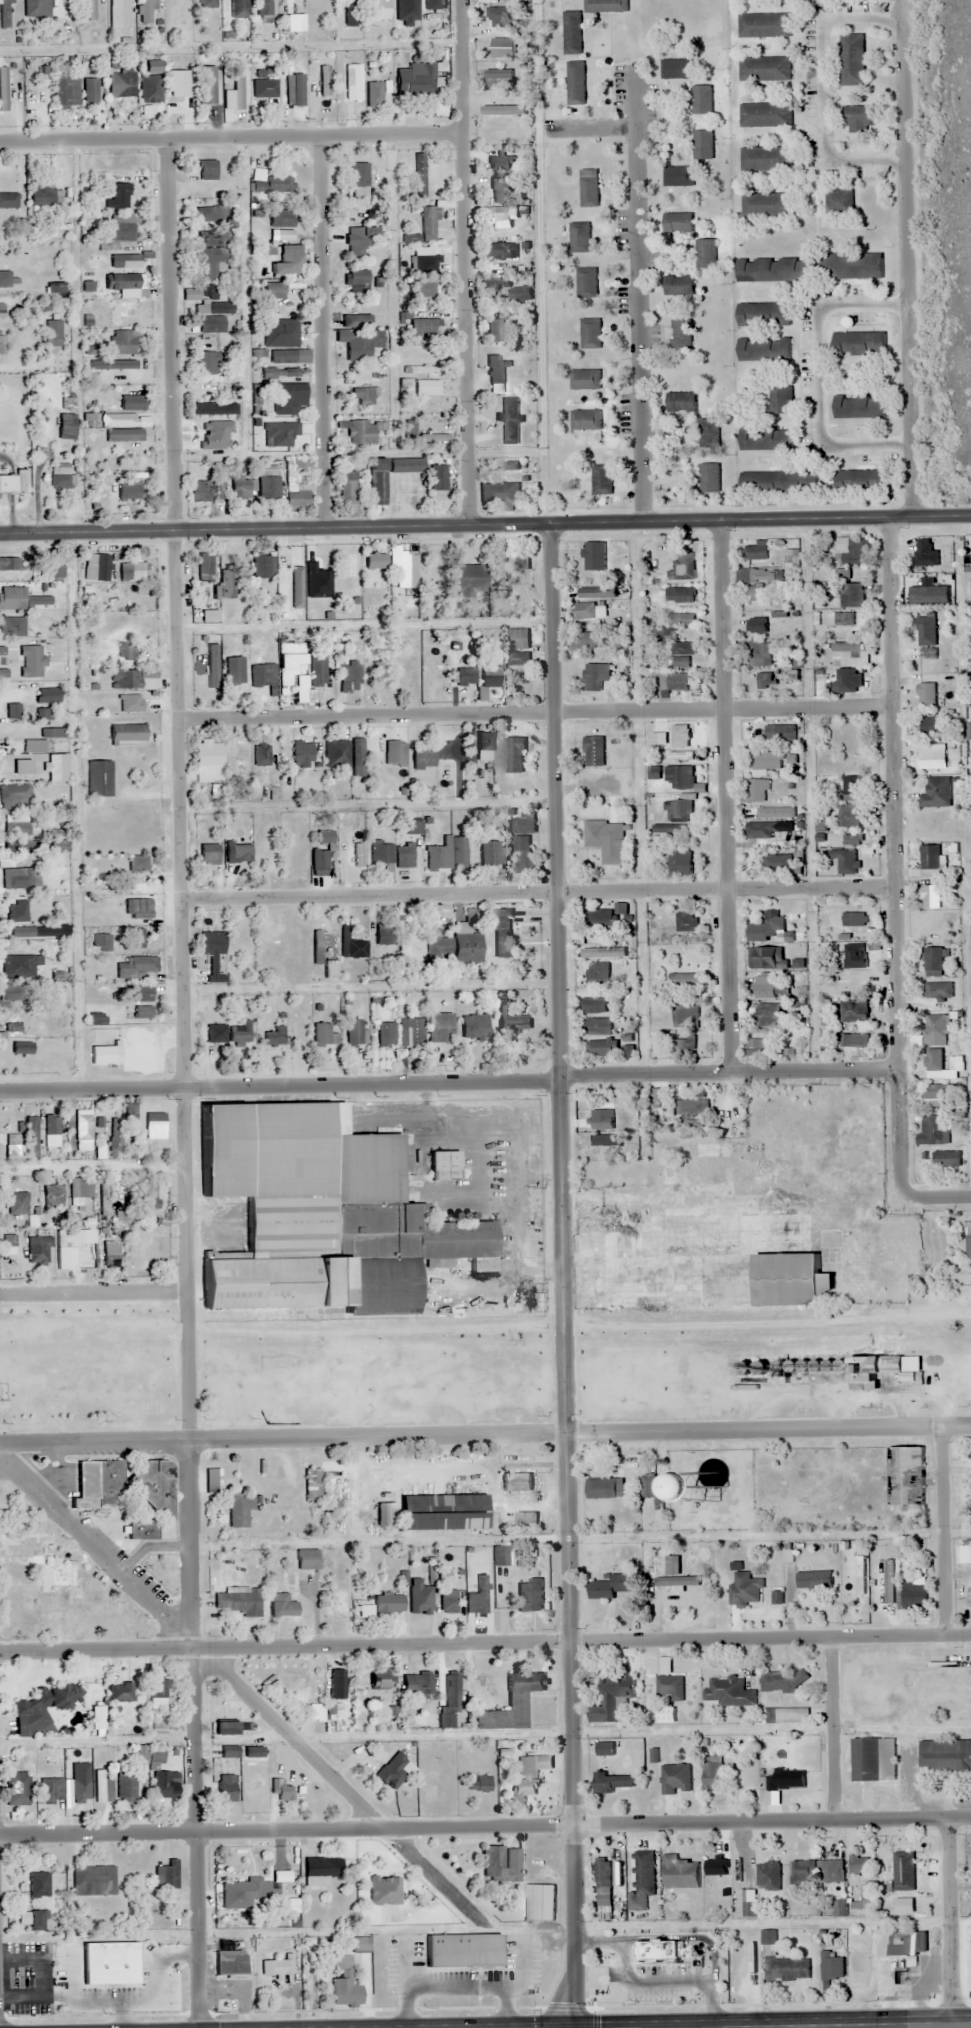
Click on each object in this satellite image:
building: (207, 3)
building: (431, 4)
building: (605, 6)
building: (237, 8)
building: (263, 8)
building: (36, 9)
building: (379, 9)
building: (404, 9)
building: (91, 10)
building: (145, 11)
building: (119, 13)
building: (349, 13)
building: (4, 14)
building: (491, 14)
building: (763, 25)
building: (572, 33)
building: (518, 45)
building: (852, 59)
building: (764, 68)
building: (675, 69)
building: (498, 79)
building: (415, 80)
building: (178, 81)
building: (575, 83)
building: (121, 84)
building: (206, 85)
building: (150, 88)
building: (264, 88)
road: (823, 88)
building: (3, 89)
building: (90, 89)
building: (294, 89)
building: (66, 92)
building: (234, 93)
building: (373, 94)
building: (701, 99)
building: (31, 106)
building: (764, 115)
building: (857, 119)
road: (230, 136)
building: (703, 144)
building: (767, 159)
building: (132, 160)
building: (501, 161)
building: (206, 170)
building: (359, 175)
building: (419, 175)
building: (678, 176)
building: (272, 181)
building: (589, 188)
building: (501, 190)
building: (119, 195)
building: (49, 196)
building: (8, 200)
building: (839, 202)
building: (767, 205)
building: (210, 214)
building: (280, 218)
building: (500, 219)
building: (677, 222)
building: (428, 223)
building: (121, 228)
building: (579, 237)
building: (212, 238)
building: (354, 240)
building: (497, 250)
building: (705, 254)
road: (908, 258)
building: (124, 261)
building: (211, 262)
road: (464, 262)
building: (291, 263)
building: (850, 266)
building: (775, 269)
building: (357, 278)
building: (7, 280)
building: (586, 282)
building: (123, 284)
building: (678, 286)
building: (422, 288)
building: (273, 290)
building: (297, 290)
building: (191, 294)
building: (521, 294)
building: (502, 295)
road: (638, 303)
building: (210, 309)
building: (127, 310)
building: (763, 314)
building: (356, 321)
building: (210, 324)
building: (424, 327)
building: (495, 330)
road: (321, 331)
building: (53, 333)
building: (281, 333)
building: (590, 334)
building: (681, 334)
building: (122, 342)
building: (360, 342)
building: (858, 344)
building: (764, 349)
building: (290, 357)
building: (124, 366)
building: (212, 366)
building: (496, 371)
building: (280, 373)
road: (817, 373)
building: (584, 380)
building: (426, 388)
building: (364, 395)
building: (288, 398)
building: (780, 400)
road: (16, 401)
building: (681, 402)
building: (131, 403)
building: (860, 406)
building: (213, 409)
building: (118, 420)
building: (586, 420)
building: (509, 421)
building: (364, 431)
building: (66, 432)
building: (709, 433)
building: (121, 435)
building: (765, 438)
building: (213, 439)
building: (434, 439)
building: (406, 465)
building: (10, 467)
building: (59, 476)
building: (438, 478)
building: (709, 478)
building: (601, 480)
building: (861, 480)
building: (377, 481)
building: (269, 482)
building: (779, 483)
building: (296, 484)
building: (240, 487)
building: (348, 487)
building: (218, 489)
building: (128, 490)
building: (201, 491)
building: (499, 494)
road: (929, 515)
road: (444, 525)
building: (757, 551)
building: (852, 551)
building: (925, 553)
building: (593, 557)
building: (375, 560)
building: (318, 563)
building: (515, 563)
building: (9, 564)
building: (205, 566)
building: (263, 566)
building: (51, 567)
building: (96, 567)
building: (682, 568)
building: (406, 570)
building: (131, 571)
building: (348, 572)
building: (759, 576)
building: (231, 579)
building: (467, 580)
building: (754, 594)
building: (681, 595)
building: (851, 595)
building: (20, 599)
building: (135, 604)
building: (514, 607)
building: (586, 611)
building: (210, 616)
building: (682, 620)
building: (843, 620)
building: (11, 627)
building: (926, 630)
building: (663, 634)
building: (773, 634)
building: (518, 639)
building: (590, 640)
building: (683, 649)
building: (2, 651)
building: (127, 652)
building: (927, 652)
building: (759, 654)
building: (519, 659)
building: (30, 662)
building: (681, 663)
building: (235, 671)
building: (318, 671)
building: (377, 671)
building: (3, 673)
building: (206, 675)
building: (491, 675)
building: (281, 676)
building: (350, 676)
building: (595, 676)
building: (464, 677)
building: (129, 678)
building: (764, 680)
building: (435, 681)
building: (679, 682)
building: (925, 694)
building: (47, 696)
building: (88, 701)
road: (808, 705)
road: (451, 713)
building: (44, 714)
building: (10, 721)
building: (936, 722)
building: (51, 732)
building: (126, 733)
building: (675, 733)
building: (779, 733)
building: (483, 741)
building: (593, 751)
building: (358, 753)
building: (301, 754)
building: (336, 754)
building: (395, 754)
building: (261, 755)
building: (515, 756)
building: (681, 756)
building: (932, 756)
building: (241, 757)
building: (423, 758)
building: (208, 761)
building: (767, 761)
building: (56, 763)
building: (22, 766)
building: (679, 777)
building: (99, 778)
building: (852, 787)
road: (181, 790)
building: (757, 791)
building: (937, 793)
building: (15, 796)
road: (724, 796)
building: (677, 811)
building: (760, 813)
building: (849, 817)
building: (525, 824)
building: (17, 829)
building: (666, 829)
building: (762, 830)
building: (324, 837)
building: (606, 840)
building: (852, 841)
building: (396, 849)
building: (209, 853)
building: (240, 853)
building: (522, 854)
building: (448, 855)
building: (493, 855)
building: (929, 857)
building: (6, 861)
building: (292, 861)
building: (845, 861)
building: (319, 862)
road: (893, 862)
building: (137, 863)
building: (773, 863)
building: (680, 864)
building: (21, 880)
road: (538, 890)
building: (930, 897)
building: (138, 909)
building: (26, 913)
building: (609, 916)
building: (853, 921)
building: (686, 922)
building: (770, 924)
building: (20, 932)
building: (502, 933)
building: (385, 934)
building: (136, 939)
building: (100, 943)
building: (466, 945)
building: (317, 948)
building: (354, 948)
building: (436, 948)
building: (274, 949)
building: (412, 949)
building: (300, 950)
building: (605, 953)
building: (213, 955)
building: (859, 955)
building: (766, 958)
building: (933, 962)
building: (18, 967)
building: (134, 968)
building: (597, 973)
building: (683, 981)
building: (764, 987)
building: (938, 991)
building: (15, 992)
building: (139, 994)
building: (594, 1006)
building: (142, 1012)
building: (854, 1012)
building: (686, 1013)
building: (769, 1015)
building: (13, 1023)
building: (515, 1023)
building: (1, 1027)
building: (475, 1027)
building: (598, 1027)
building: (440, 1028)
building: (935, 1030)
building: (411, 1032)
building: (354, 1033)
building: (215, 1034)
building: (240, 1034)
building: (121, 1035)
building: (321, 1035)
building: (386, 1035)
building: (273, 1037)
building: (854, 1042)
building: (684, 1045)
building: (758, 1046)
building: (602, 1048)
building: (144, 1056)
building: (20, 1057)
building: (933, 1063)
road: (448, 1080)
building: (936, 1096)
building: (691, 1107)
building: (82, 1126)
building: (153, 1128)
building: (931, 1130)
building: (51, 1131)
building: (115, 1135)
building: (31, 1137)
building: (613, 1146)
building: (14, 1152)
building: (946, 1159)
building: (443, 1166)
road: (93, 1168)
building: (672, 1173)
building: (81, 1188)
building: (53, 1194)
building: (148, 1194)
road: (944, 1196)
building: (105, 1197)
building: (17, 1204)
building: (317, 1213)
building: (968, 1248)
building: (71, 1249)
building: (39, 1250)
building: (110, 1254)
building: (707, 1260)
road: (563, 1275)
road: (94, 1293)
railway: (485, 1343)
building: (878, 1372)
road: (485, 1438)
building: (275, 1469)
building: (906, 1476)
building: (213, 1482)
building: (516, 1483)
building: (97, 1485)
building: (312, 1485)
building: (153, 1486)
building: (605, 1489)
building: (653, 1491)
building: (239, 1511)
building: (442, 1513)
building: (386, 1516)
building: (141, 1530)
road: (944, 1530)
building: (501, 1556)
building: (306, 1560)
building: (54, 1581)
building: (814, 1581)
building: (677, 1584)
building: (608, 1588)
building: (744, 1590)
building: (852, 1593)
building: (530, 1596)
building: (962, 1596)
building: (419, 1598)
building: (477, 1598)
building: (912, 1598)
building: (448, 1602)
building: (338, 1603)
building: (387, 1604)
building: (281, 1606)
road: (769, 1637)
road: (283, 1642)
building: (781, 1681)
building: (378, 1683)
building: (337, 1684)
building: (417, 1684)
road: (240, 1688)
building: (670, 1688)
building: (121, 1692)
building: (727, 1692)
building: (158, 1695)
building: (611, 1698)
building: (449, 1701)
building: (511, 1703)
building: (40, 1707)
building: (786, 1715)
building: (224, 1727)
road: (832, 1728)
road: (196, 1735)
building: (604, 1748)
building: (229, 1752)
building: (150, 1754)
building: (945, 1756)
building: (873, 1759)
building: (392, 1771)
building: (712, 1773)
building: (528, 1778)
building: (675, 1779)
building: (786, 1779)
building: (479, 1783)
building: (612, 1783)
building: (165, 1784)
building: (103, 1787)
building: (18, 1788)
building: (126, 1788)
building: (226, 1788)
building: (52, 1789)
building: (81, 1790)
building: (281, 1790)
building: (253, 1793)
road: (770, 1820)
road: (285, 1832)
building: (501, 1865)
building: (860, 1865)
building: (716, 1867)
building: (322, 1868)
building: (831, 1871)
building: (904, 1871)
building: (803, 1872)
building: (602, 1873)
building: (644, 1873)
building: (680, 1873)
building: (166, 1875)
building: (768, 1875)
building: (93, 1881)
building: (39, 1884)
road: (1, 1887)
building: (384, 1891)
building: (243, 1893)
building: (539, 1902)
building: (604, 1902)
building: (36, 1920)
road: (950, 1923)
building: (768, 1939)
building: (902, 1943)
building: (361, 1945)
building: (462, 1950)
building: (660, 1951)
building: (230, 1965)
building: (277, 1967)
building: (831, 1967)
building: (790, 1969)
building: (148, 1983)
gas station: (148, 1983)
building: (345, 1992)
road: (951, 2026)

